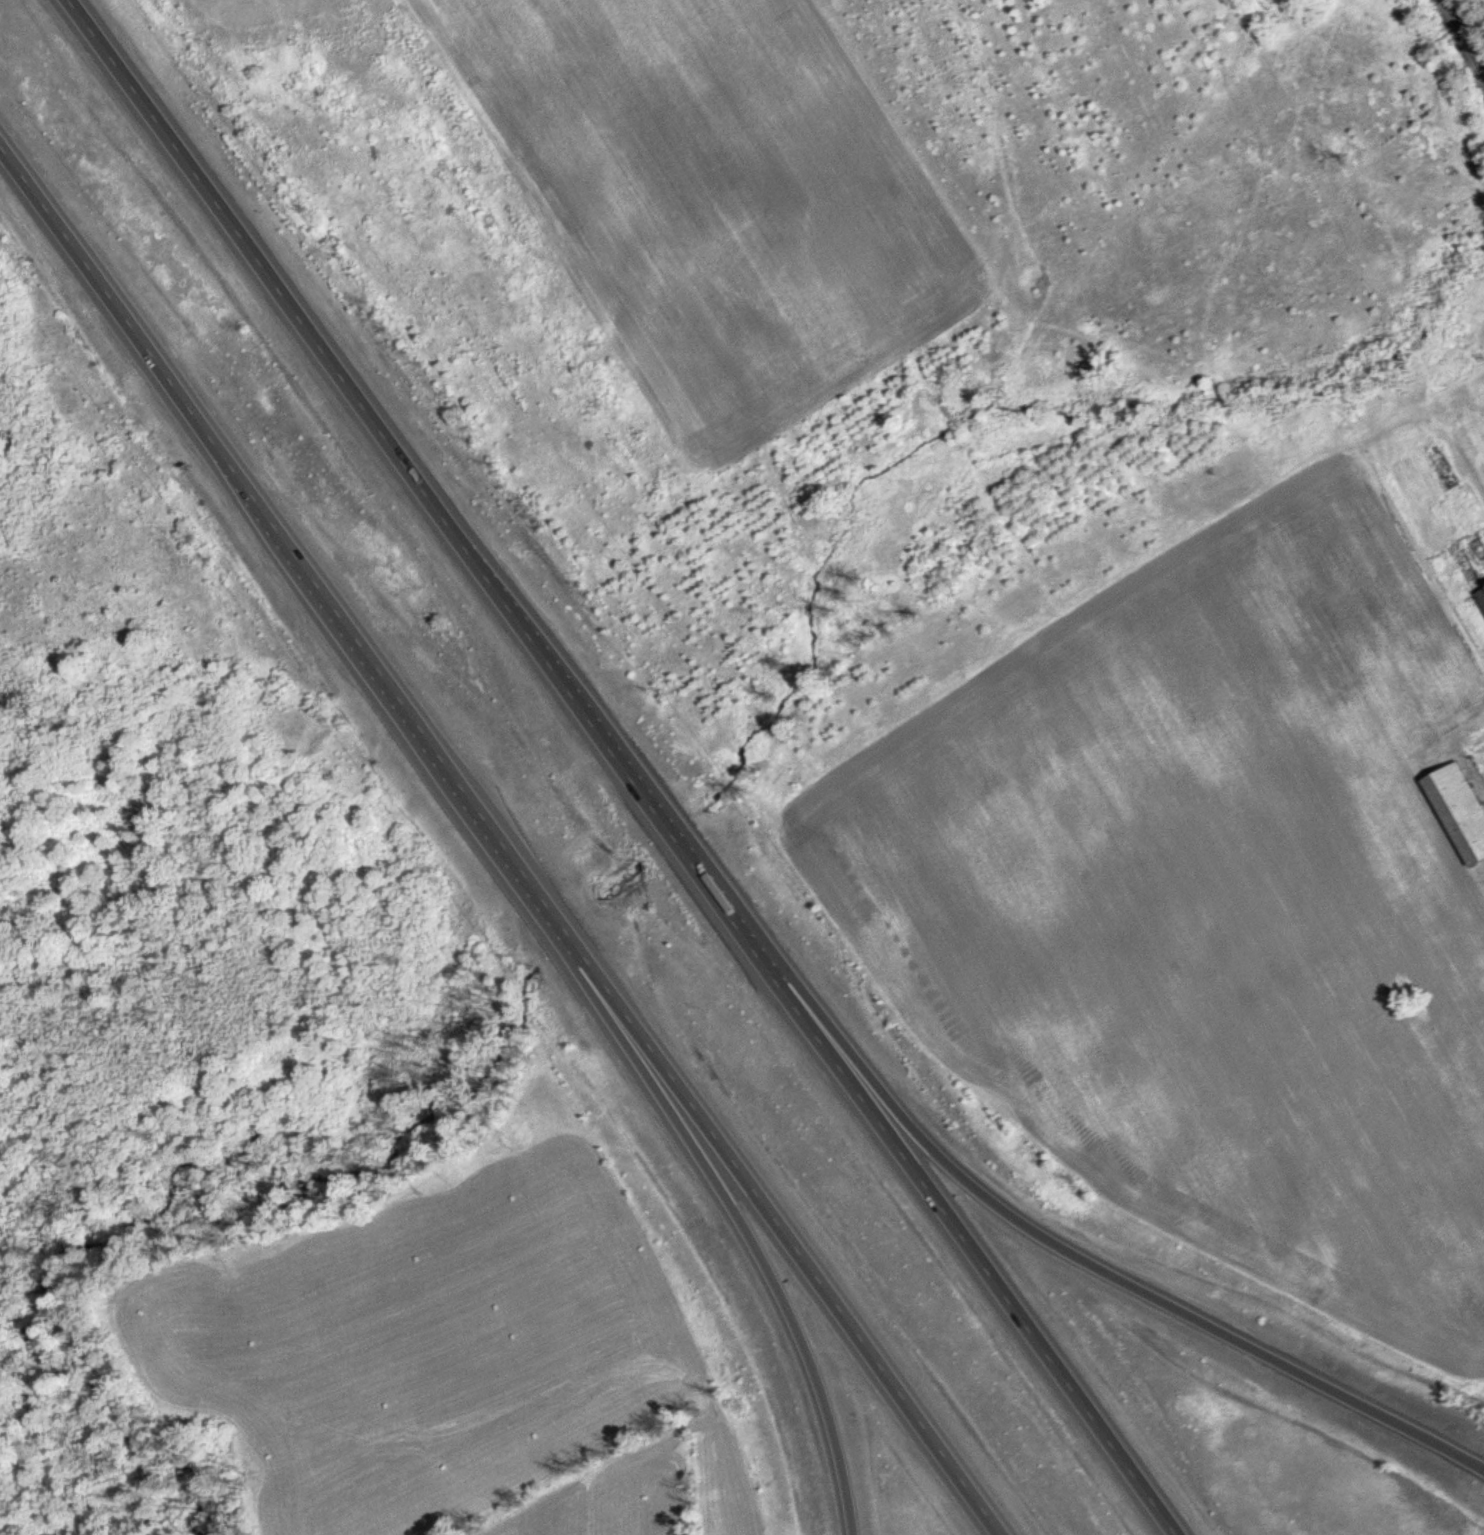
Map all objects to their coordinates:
railway: (1465, 37)
building: (1482, 585)
road: (625, 766)
building: (1457, 810)
road: (503, 838)
road: (1085, 1258)
road: (769, 1271)

